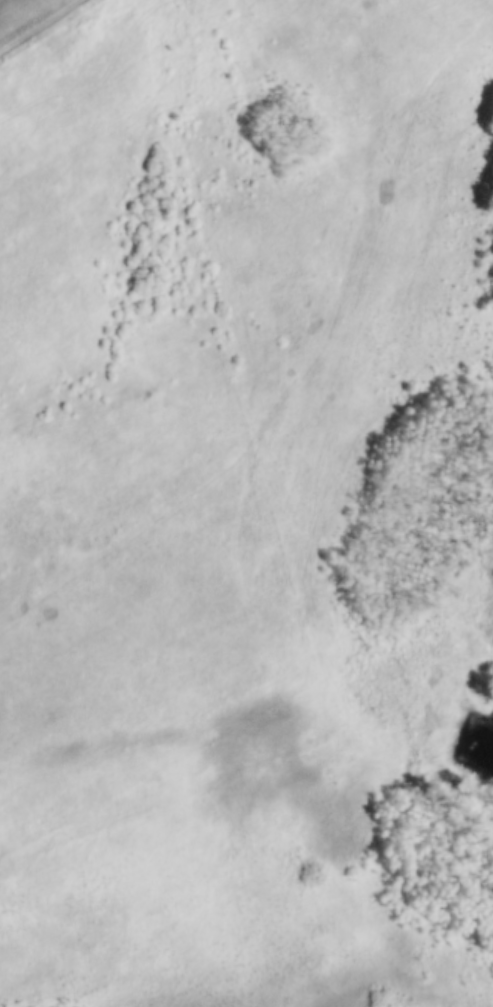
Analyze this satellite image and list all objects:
road: (37, 26)

